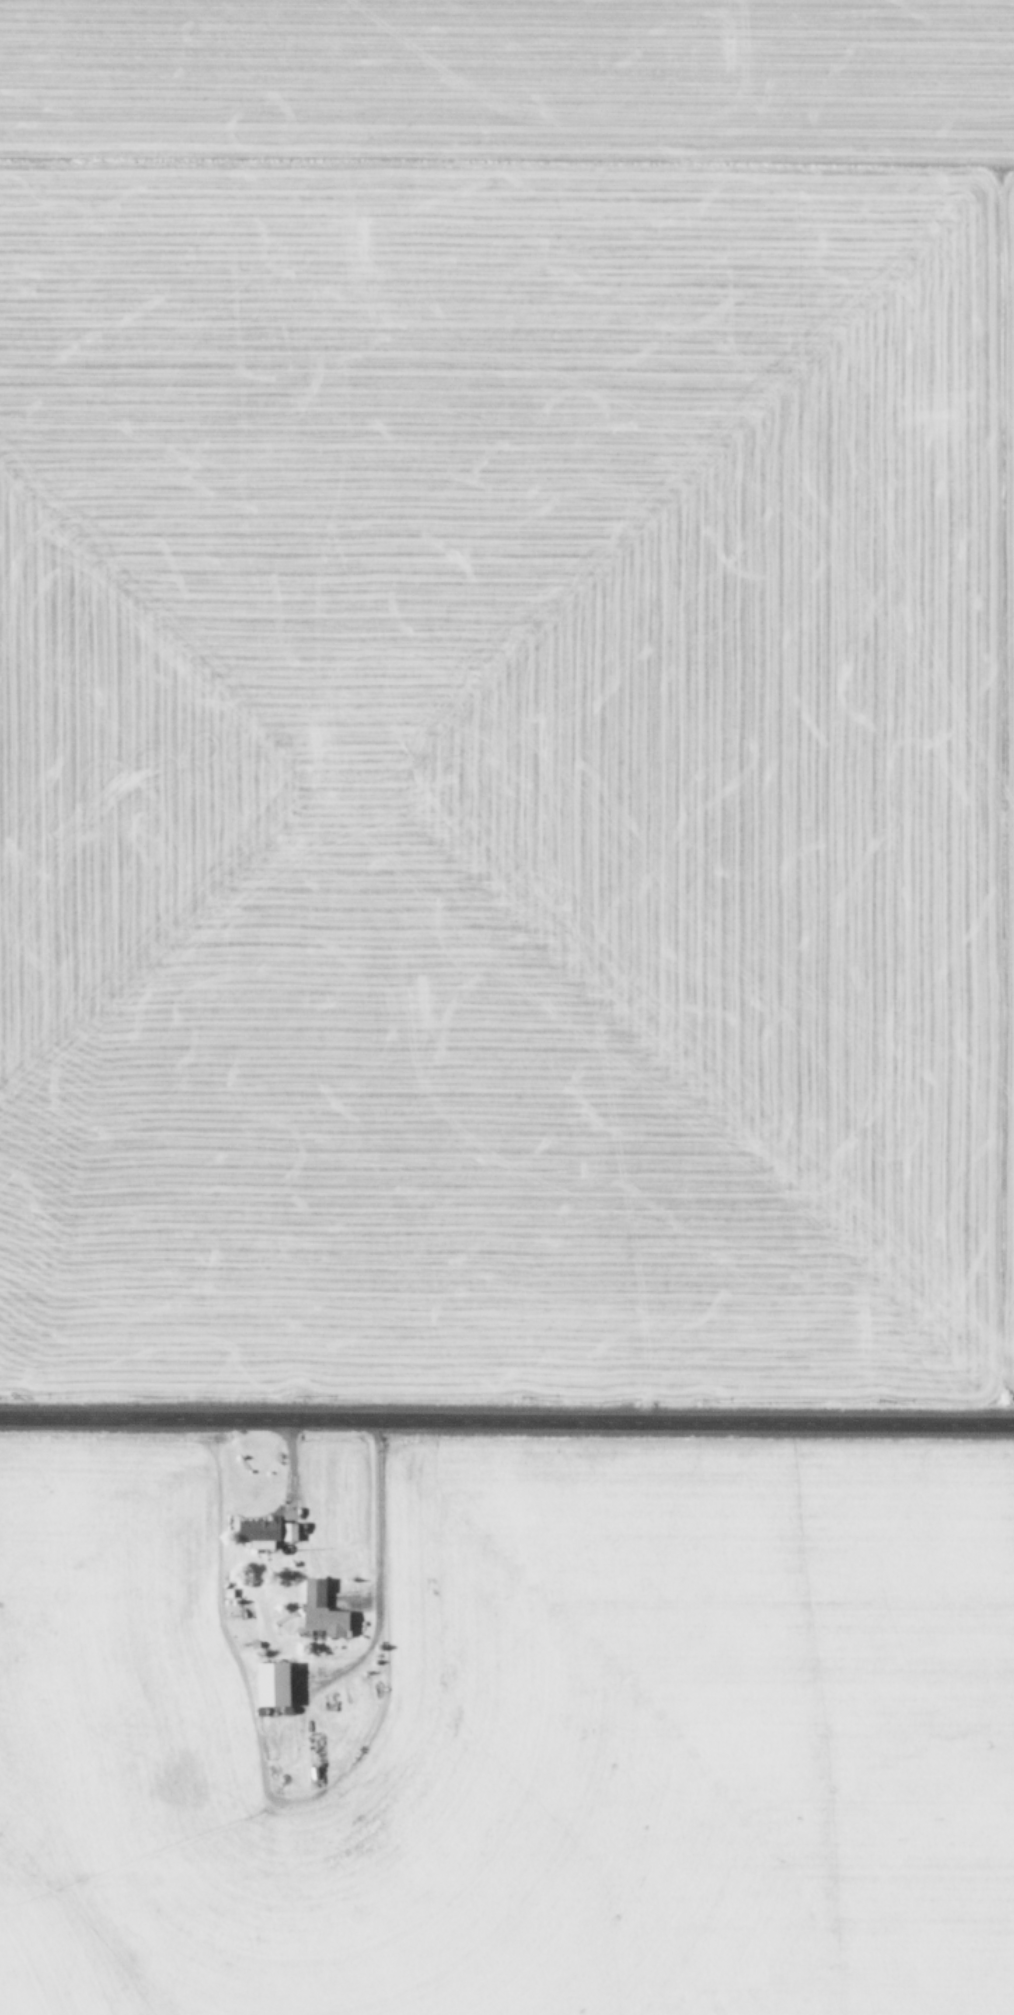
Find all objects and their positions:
crop: (507, 691)
road: (507, 1421)
crop: (505, 1725)

